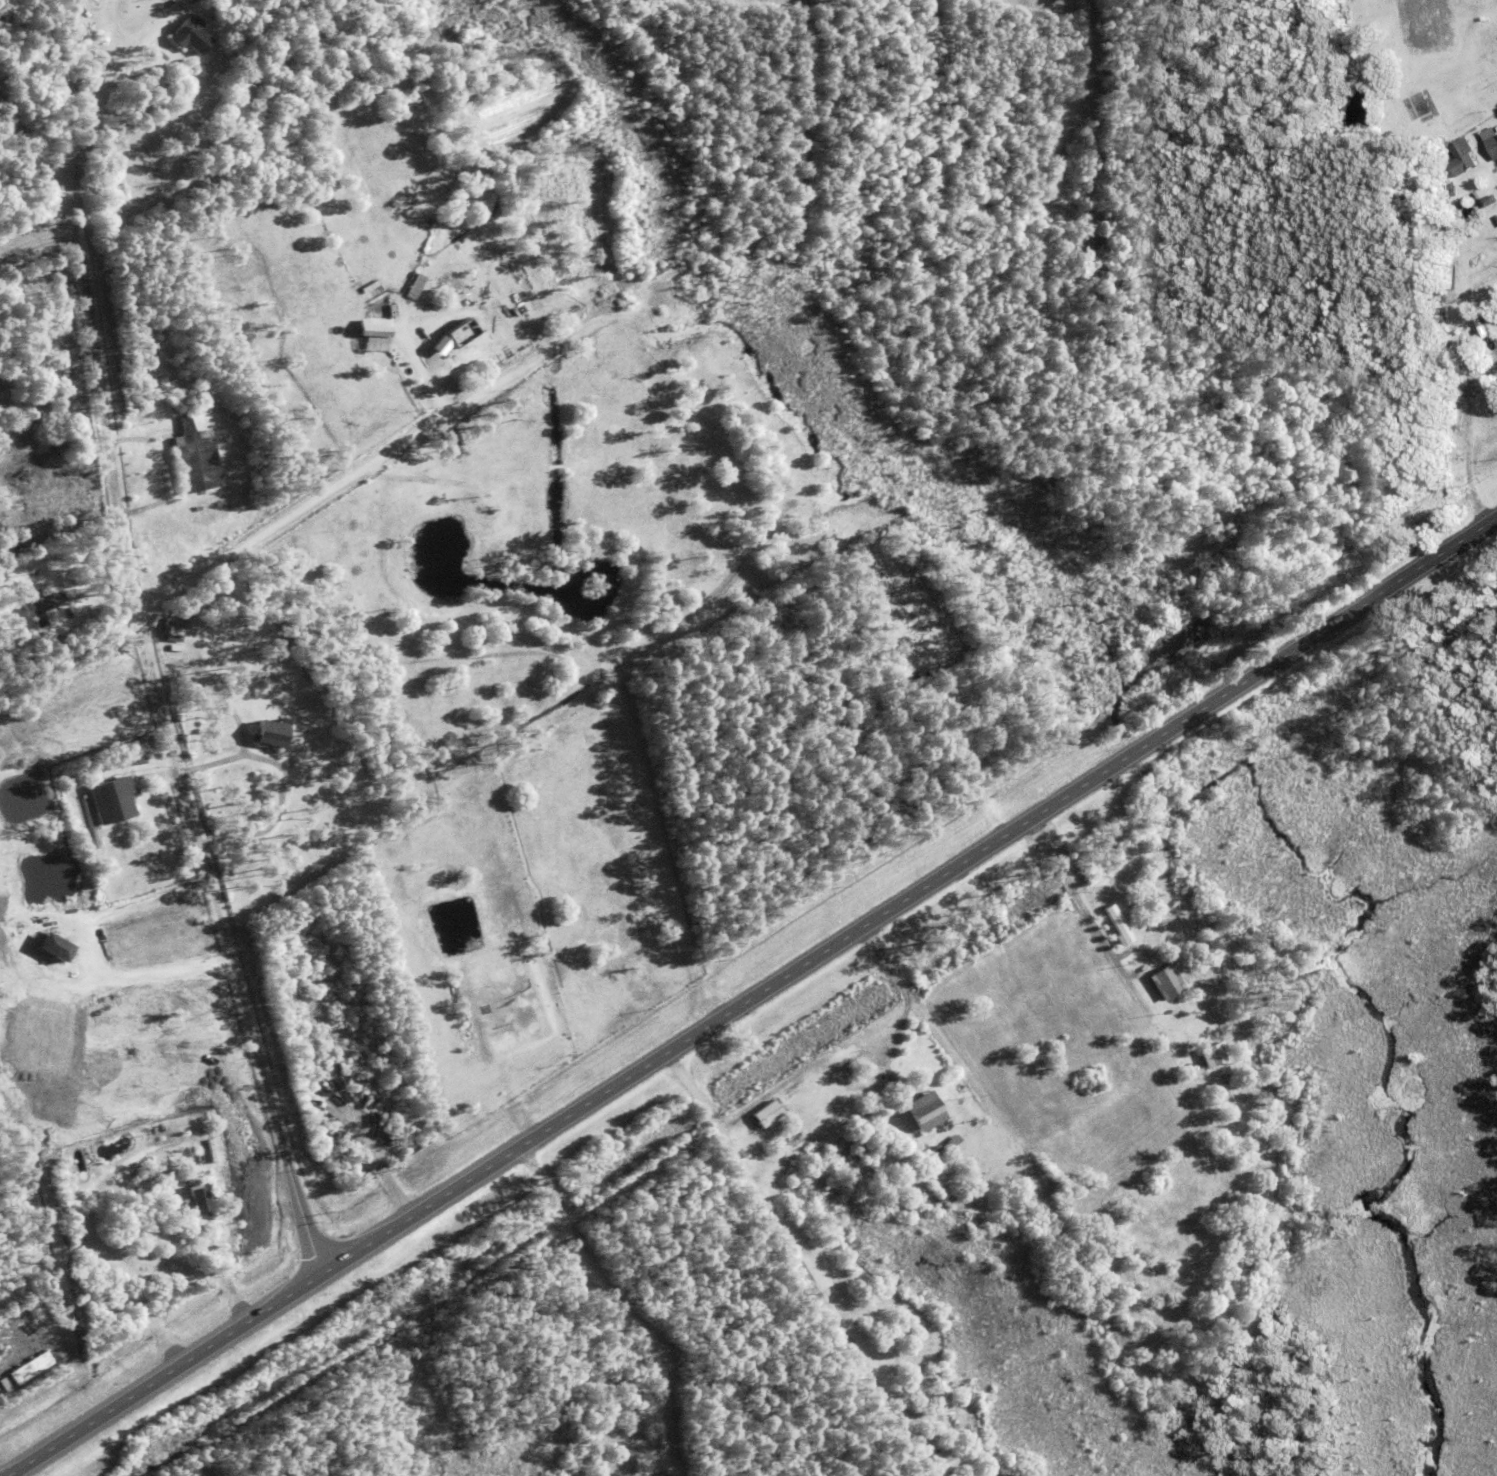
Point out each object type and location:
building: (191, 37)
building: (1415, 106)
building: (1483, 129)
building: (1493, 147)
building: (1462, 158)
building: (1452, 190)
building: (1489, 201)
building: (1459, 250)
building: (415, 286)
road: (19, 294)
building: (375, 334)
road: (1472, 447)
building: (1455, 455)
building: (193, 463)
building: (171, 471)
building: (201, 508)
road: (1493, 539)
building: (64, 585)
building: (35, 608)
building: (172, 630)
building: (64, 646)
building: (11, 659)
building: (67, 661)
building: (231, 673)
building: (269, 737)
road: (365, 743)
road: (177, 785)
building: (142, 798)
building: (111, 802)
building: (1117, 926)
building: (54, 951)
building: (1161, 981)
road: (753, 1001)
building: (1211, 1057)
building: (917, 1066)
building: (902, 1088)
building: (884, 1091)
building: (874, 1102)
building: (926, 1110)
building: (964, 1114)
building: (766, 1117)
building: (215, 1142)
building: (948, 1146)
road: (892, 1175)
building: (993, 1183)
building: (166, 1189)
building: (198, 1205)
building: (184, 1217)
road: (1, 1245)
road: (618, 1305)
building: (30, 1371)
building: (3, 1388)
building: (943, 1464)

